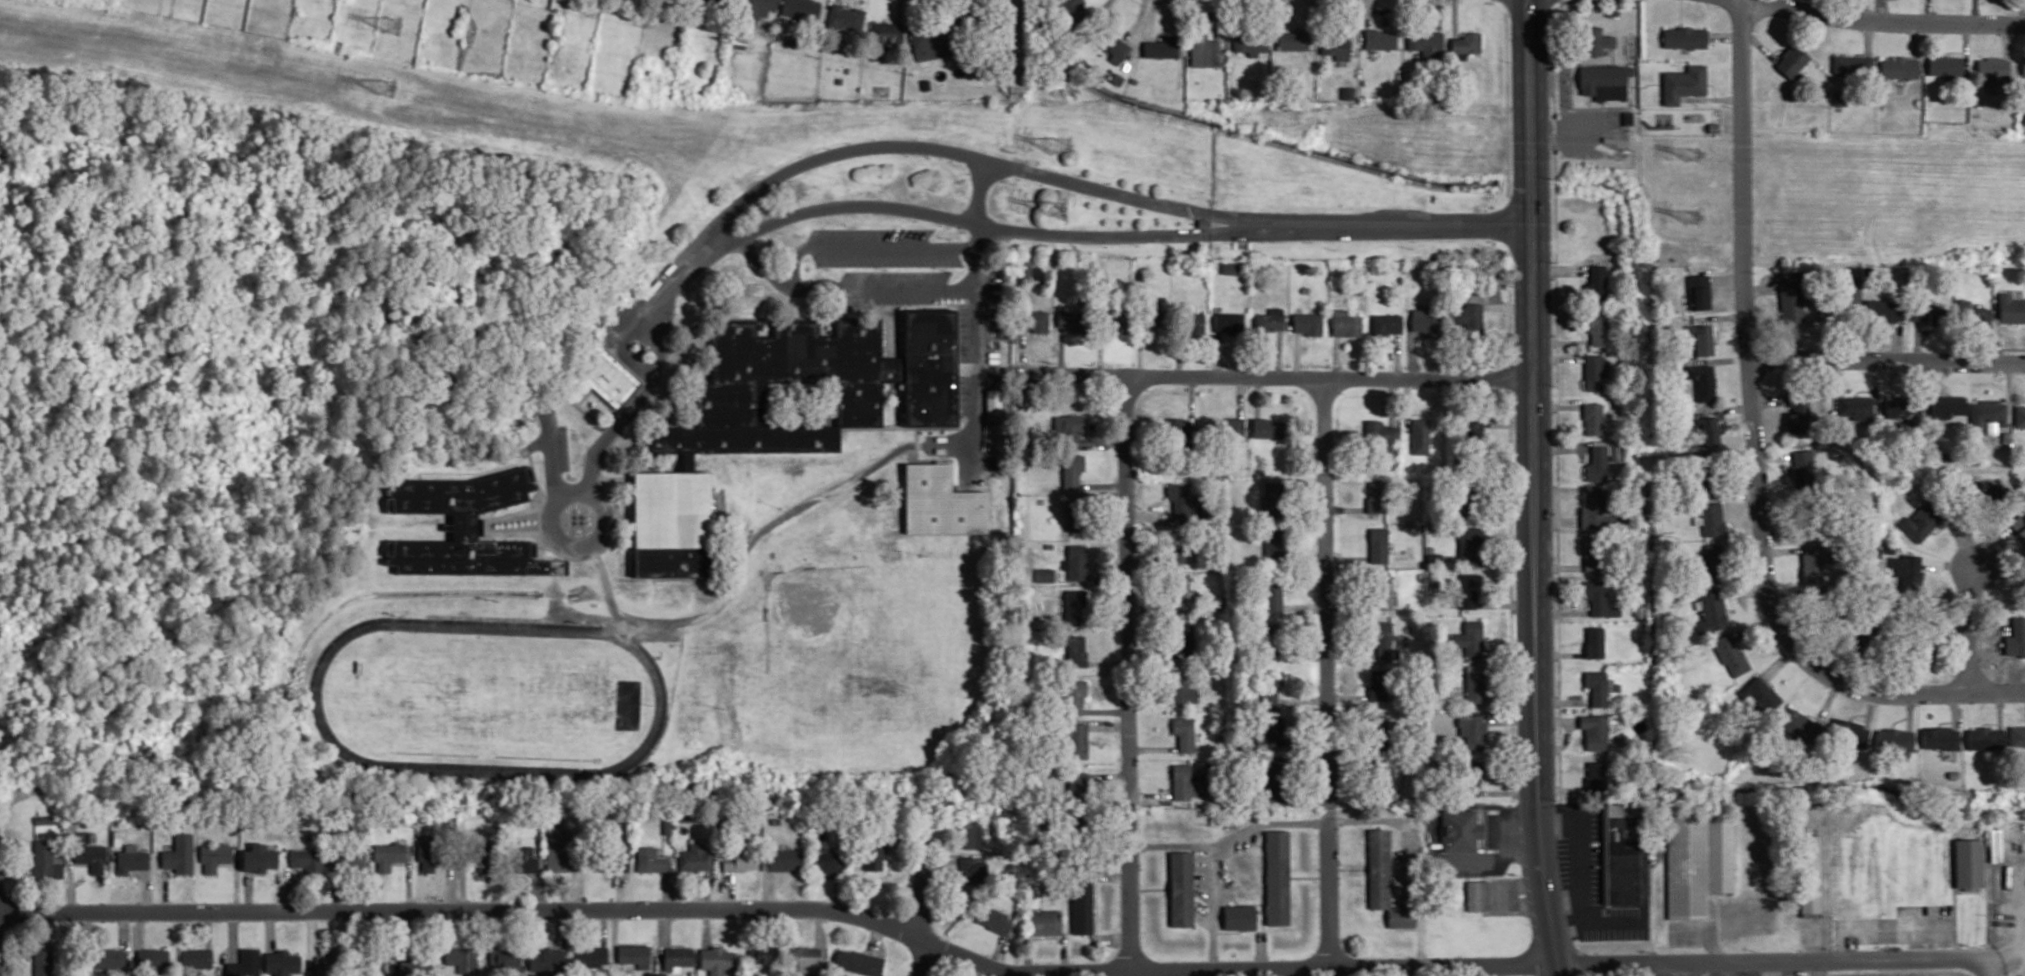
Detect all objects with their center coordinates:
building: (708, 0)
building: (730, 1)
road: (1786, 3)
road: (1102, 6)
building: (801, 8)
street lamp: (1871, 8)
building: (754, 9)
road: (1881, 9)
building: (960, 11)
building: (1075, 11)
road: (1929, 11)
road: (1975, 11)
road: (2022, 11)
road: (1680, 12)
street lamp: (2010, 12)
road: (1306, 13)
road: (1368, 13)
road: (1438, 15)
building: (845, 17)
road: (1455, 17)
road: (1150, 18)
road: (1137, 20)
road: (1890, 20)
power tower: (396, 25)
building: (886, 35)
road: (1725, 35)
building: (1685, 36)
road: (1868, 36)
building: (1380, 38)
building: (1294, 39)
building: (1596, 39)
road: (1915, 39)
road: (2008, 40)
building: (931, 41)
building: (1426, 42)
building: (740, 43)
building: (1250, 43)
building: (1466, 44)
building: (1113, 45)
road: (1759, 45)
building: (1162, 46)
building: (1335, 46)
road: (1966, 47)
road: (1776, 49)
building: (1204, 50)
road: (1954, 50)
building: (1793, 59)
street lamp: (1509, 60)
building: (1853, 63)
building: (1900, 66)
building: (1946, 66)
building: (2024, 66)
building: (1994, 72)
building: (1605, 80)
building: (1684, 82)
building: (1254, 85)
road: (1713, 89)
power tower: (386, 91)
building: (1840, 97)
road: (1711, 98)
road: (1589, 101)
building: (1977, 103)
road: (1581, 107)
road: (1530, 112)
building: (1627, 118)
river: (1274, 139)
power tower: (1062, 147)
road: (960, 153)
power tower: (1697, 157)
street lamp: (1552, 177)
river: (1530, 183)
river: (1592, 184)
power tower: (1057, 212)
street lamp: (914, 220)
power tower: (1692, 221)
road: (971, 222)
street lamp: (939, 225)
road: (1407, 225)
street lamp: (854, 226)
street lamp: (781, 232)
street lamp: (964, 232)
parking lot: (872, 234)
road: (1555, 236)
street lamp: (949, 238)
road: (868, 246)
road: (754, 254)
parking lot: (888, 258)
building: (1230, 266)
building: (1024, 270)
road: (1560, 270)
street lamp: (1753, 272)
parking lot: (896, 276)
road: (1727, 278)
building: (1595, 283)
street lamp: (1512, 285)
road: (882, 289)
road: (1759, 289)
building: (1699, 291)
parking lot: (902, 298)
building: (1788, 301)
building: (1851, 303)
building: (2010, 308)
building: (1883, 309)
road: (977, 313)
building: (1927, 314)
building: (1971, 314)
building: (1113, 317)
road: (1719, 317)
building: (1070, 318)
building: (1152, 318)
building: (1470, 318)
building: (1032, 320)
building: (1269, 321)
building: (1188, 322)
building: (1424, 322)
building: (1230, 323)
building: (1308, 323)
building: (1345, 323)
building: (1385, 323)
building: (1594, 325)
road: (1718, 329)
road: (1996, 331)
road: (1746, 334)
building: (1701, 338)
road: (1560, 341)
road: (1897, 341)
road: (1916, 341)
road: (2001, 348)
road: (1278, 353)
road: (1412, 354)
road: (1296, 355)
road: (1397, 355)
road: (1335, 357)
road: (1557, 357)
road: (1717, 359)
road: (1886, 360)
building: (1593, 371)
building: (606, 374)
road: (1256, 377)
building: (1703, 381)
street lamp: (1553, 384)
road: (1926, 386)
road: (646, 390)
road: (2008, 392)
building: (993, 400)
road: (1768, 400)
building: (1944, 405)
road: (1557, 406)
building: (1860, 406)
road: (1722, 407)
building: (1902, 409)
road: (1779, 411)
building: (1796, 411)
building: (1984, 412)
building: (2018, 415)
building: (1592, 416)
building: (1229, 426)
building: (1069, 427)
building: (1268, 427)
building: (1707, 429)
building: (1182, 430)
building: (1382, 434)
building: (993, 435)
building: (1420, 435)
building: (1472, 435)
building: (744, 439)
road: (549, 442)
road: (1561, 446)
parking lot: (562, 447)
building: (1616, 451)
building: (1597, 462)
building: (1803, 468)
building: (1072, 469)
building: (1703, 473)
building: (1475, 491)
road: (1734, 494)
building: (1977, 496)
building: (1272, 497)
building: (1378, 497)
building: (1184, 499)
building: (941, 501)
building: (1602, 513)
building: (1076, 514)
building: (1809, 515)
building: (1710, 517)
building: (1920, 520)
building: (2019, 524)
road: (1536, 525)
building: (463, 526)
building: (1469, 542)
road: (561, 543)
building: (1378, 544)
building: (1176, 545)
building: (1275, 545)
street lamp: (548, 549)
building: (1595, 553)
building: (1711, 558)
building: (1076, 561)
building: (1812, 562)
building: (1909, 572)
building: (1043, 574)
building: (1469, 589)
building: (1382, 590)
building: (1273, 592)
road: (1128, 593)
road: (1326, 594)
building: (1181, 595)
building: (1600, 598)
building: (1073, 605)
building: (1827, 609)
building: (1711, 610)
building: (1867, 630)
road: (1970, 634)
building: (1276, 635)
building: (1470, 637)
building: (2015, 637)
building: (1185, 639)
building: (1387, 639)
building: (1595, 641)
building: (1852, 642)
building: (1923, 645)
street lamp: (1782, 648)
building: (1076, 650)
building: (1730, 654)
road: (1780, 662)
road: (1918, 678)
building: (1271, 684)
building: (1378, 684)
building: (1183, 686)
building: (1475, 686)
building: (1598, 686)
road: (1911, 693)
building: (1074, 695)
building: (1760, 695)
road: (1828, 700)
street lamp: (1919, 704)
road: (1870, 708)
road: (1955, 708)
road: (1999, 708)
road: (1910, 711)
road: (1858, 713)
road: (1899, 719)
road: (1946, 721)
road: (1991, 723)
building: (1800, 724)
building: (1472, 729)
building: (1270, 730)
building: (1595, 730)
building: (1849, 730)
building: (1185, 733)
building: (1380, 733)
building: (2016, 734)
building: (1939, 737)
building: (1983, 737)
building: (1075, 738)
building: (1894, 739)
building: (2023, 761)
road: (405, 767)
building: (1596, 776)
building: (1470, 777)
building: (1384, 778)
building: (1274, 781)
building: (1187, 783)
building: (1078, 786)
building: (45, 820)
road: (1298, 822)
road: (0, 823)
building: (1459, 830)
building: (972, 832)
building: (558, 849)
building: (89, 852)
building: (426, 853)
building: (1620, 853)
building: (179, 854)
building: (478, 854)
building: (873, 854)
building: (388, 855)
building: (214, 856)
building: (258, 858)
building: (694, 858)
building: (131, 859)
building: (347, 859)
building: (781, 859)
building: (45, 860)
building: (308, 860)
building: (522, 860)
building: (650, 860)
building: (825, 860)
building: (739, 861)
building: (1968, 861)
building: (1697, 863)
building: (607, 864)
building: (971, 870)
building: (1809, 875)
building: (1276, 877)
building: (1384, 881)
building: (1181, 888)
road: (1129, 889)
road: (1328, 889)
building: (1478, 895)
road: (922, 898)
road: (1548, 901)
building: (1081, 906)
road: (1211, 908)
building: (1239, 917)
building: (993, 920)
building: (1045, 922)
building: (762, 954)
building: (634, 955)
building: (590, 957)
building: (109, 958)
building: (196, 958)
building: (677, 958)
building: (42, 959)
building: (152, 959)
building: (461, 959)
building: (504, 959)
building: (804, 959)
building: (547, 960)
building: (716, 960)
building: (281, 962)
building: (858, 962)
building: (245, 963)
building: (326, 964)
road: (1990, 967)
road: (1665, 969)
road: (1755, 969)
road: (1003, 971)

